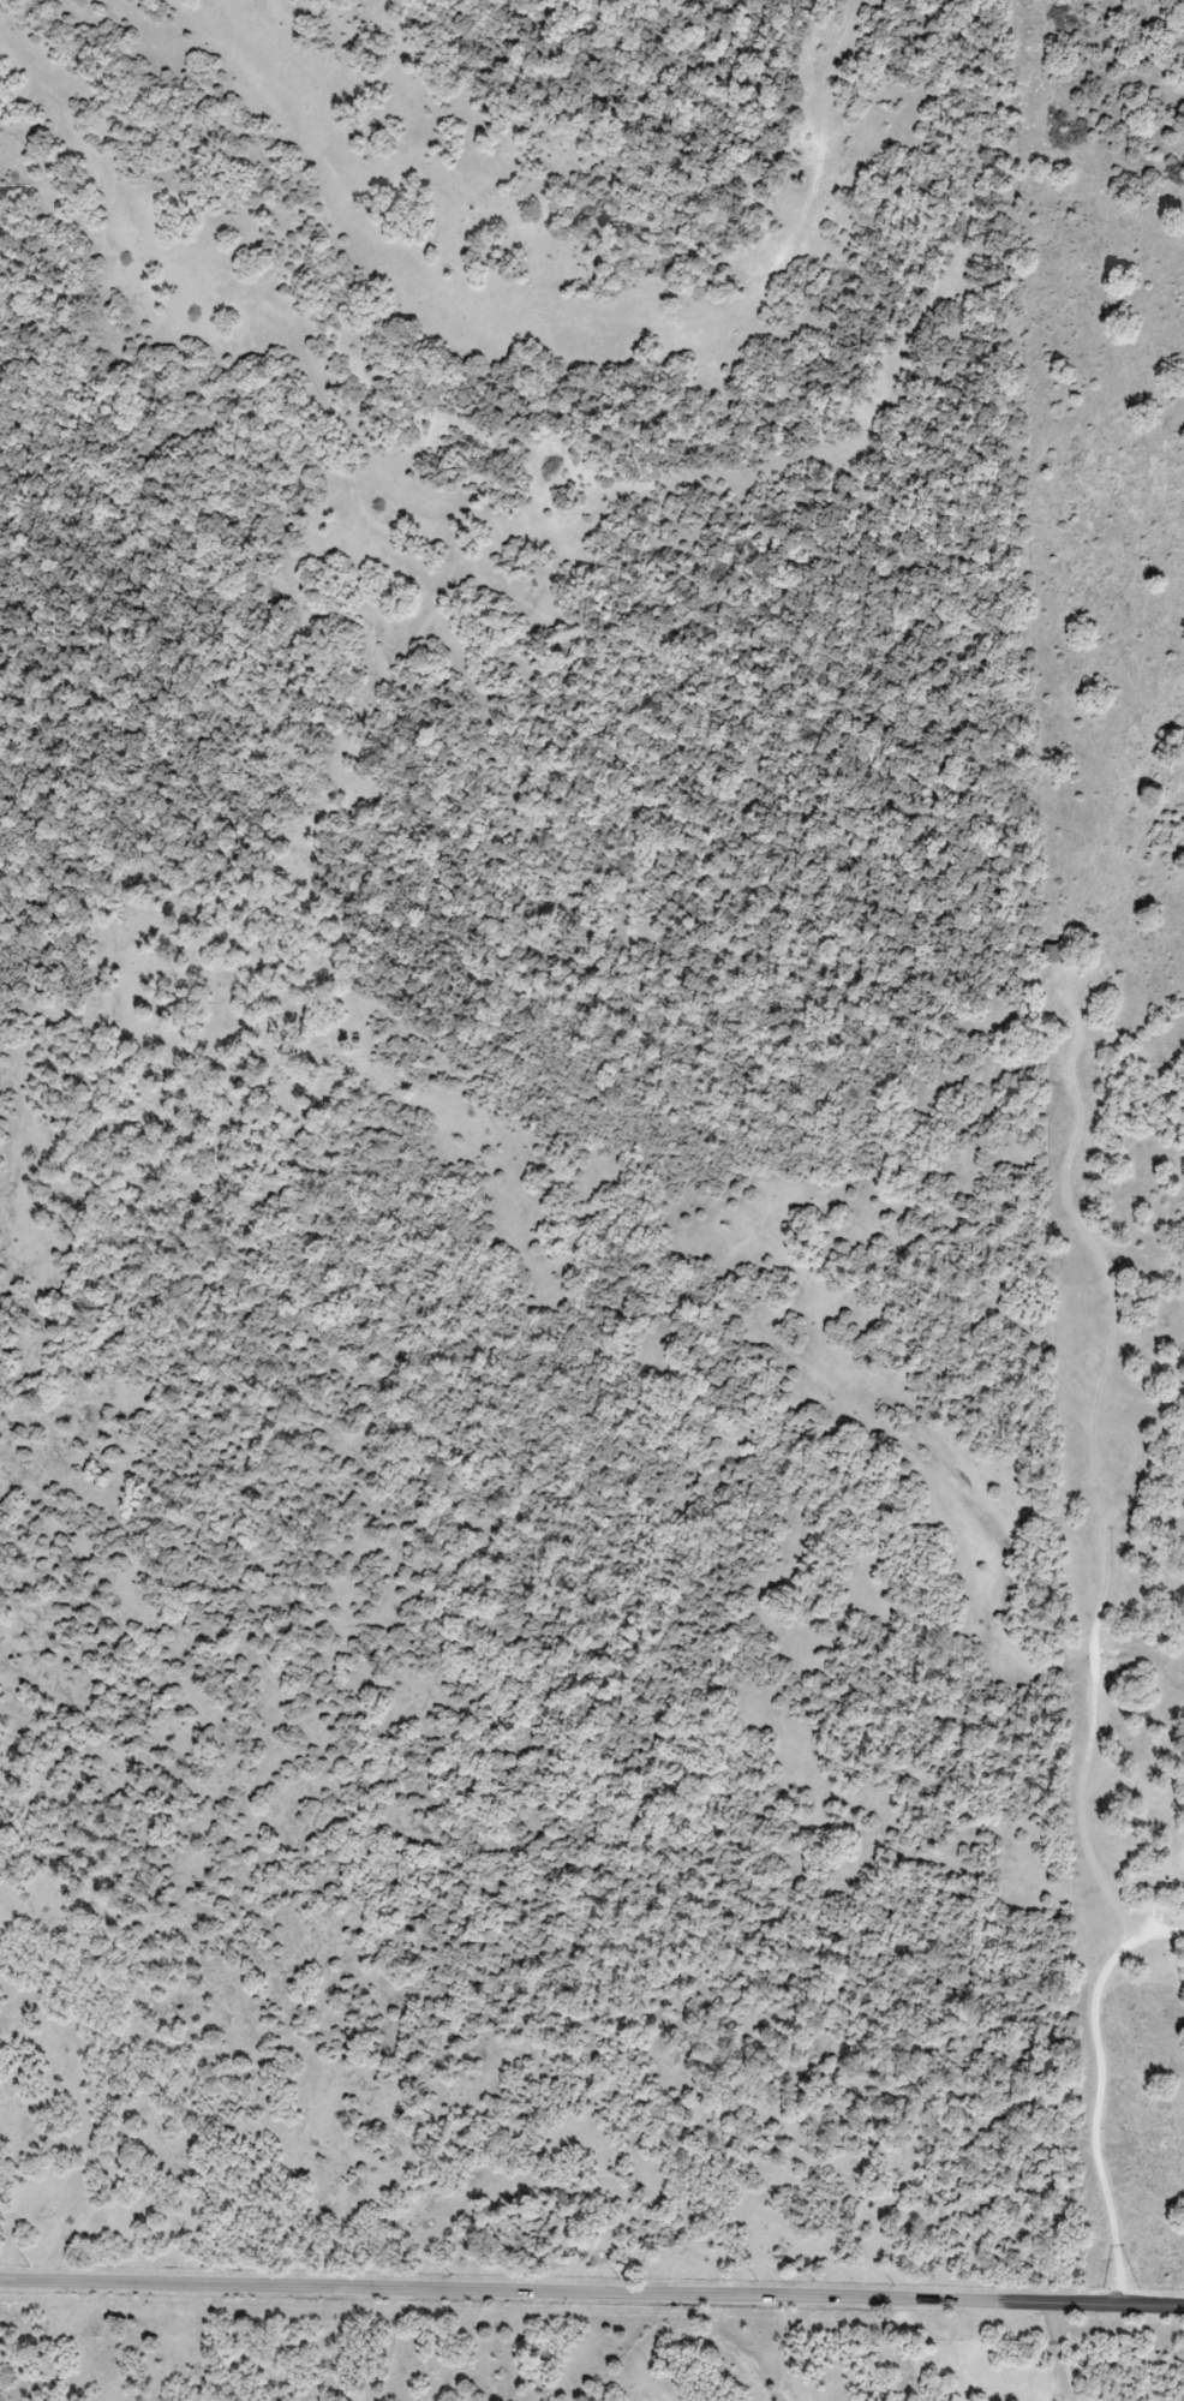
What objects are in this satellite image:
road: (1098, 2097)
road: (592, 2294)
road: (1060, 2353)

